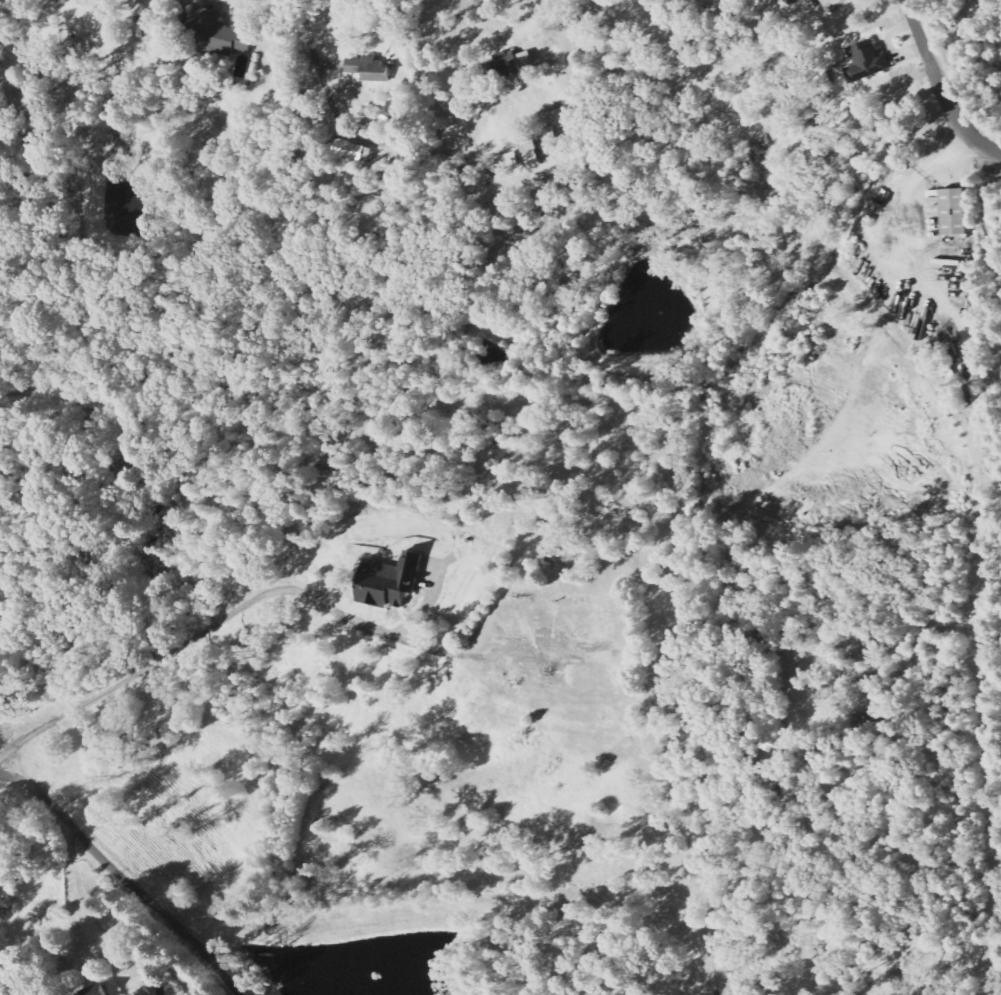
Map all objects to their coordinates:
building: (217, 32)
road: (312, 41)
building: (864, 62)
building: (507, 65)
building: (368, 70)
road: (940, 85)
building: (353, 151)
building: (530, 154)
road: (987, 204)
building: (952, 213)
building: (394, 582)
road: (129, 675)
building: (878, 724)
road: (123, 879)
building: (101, 992)

